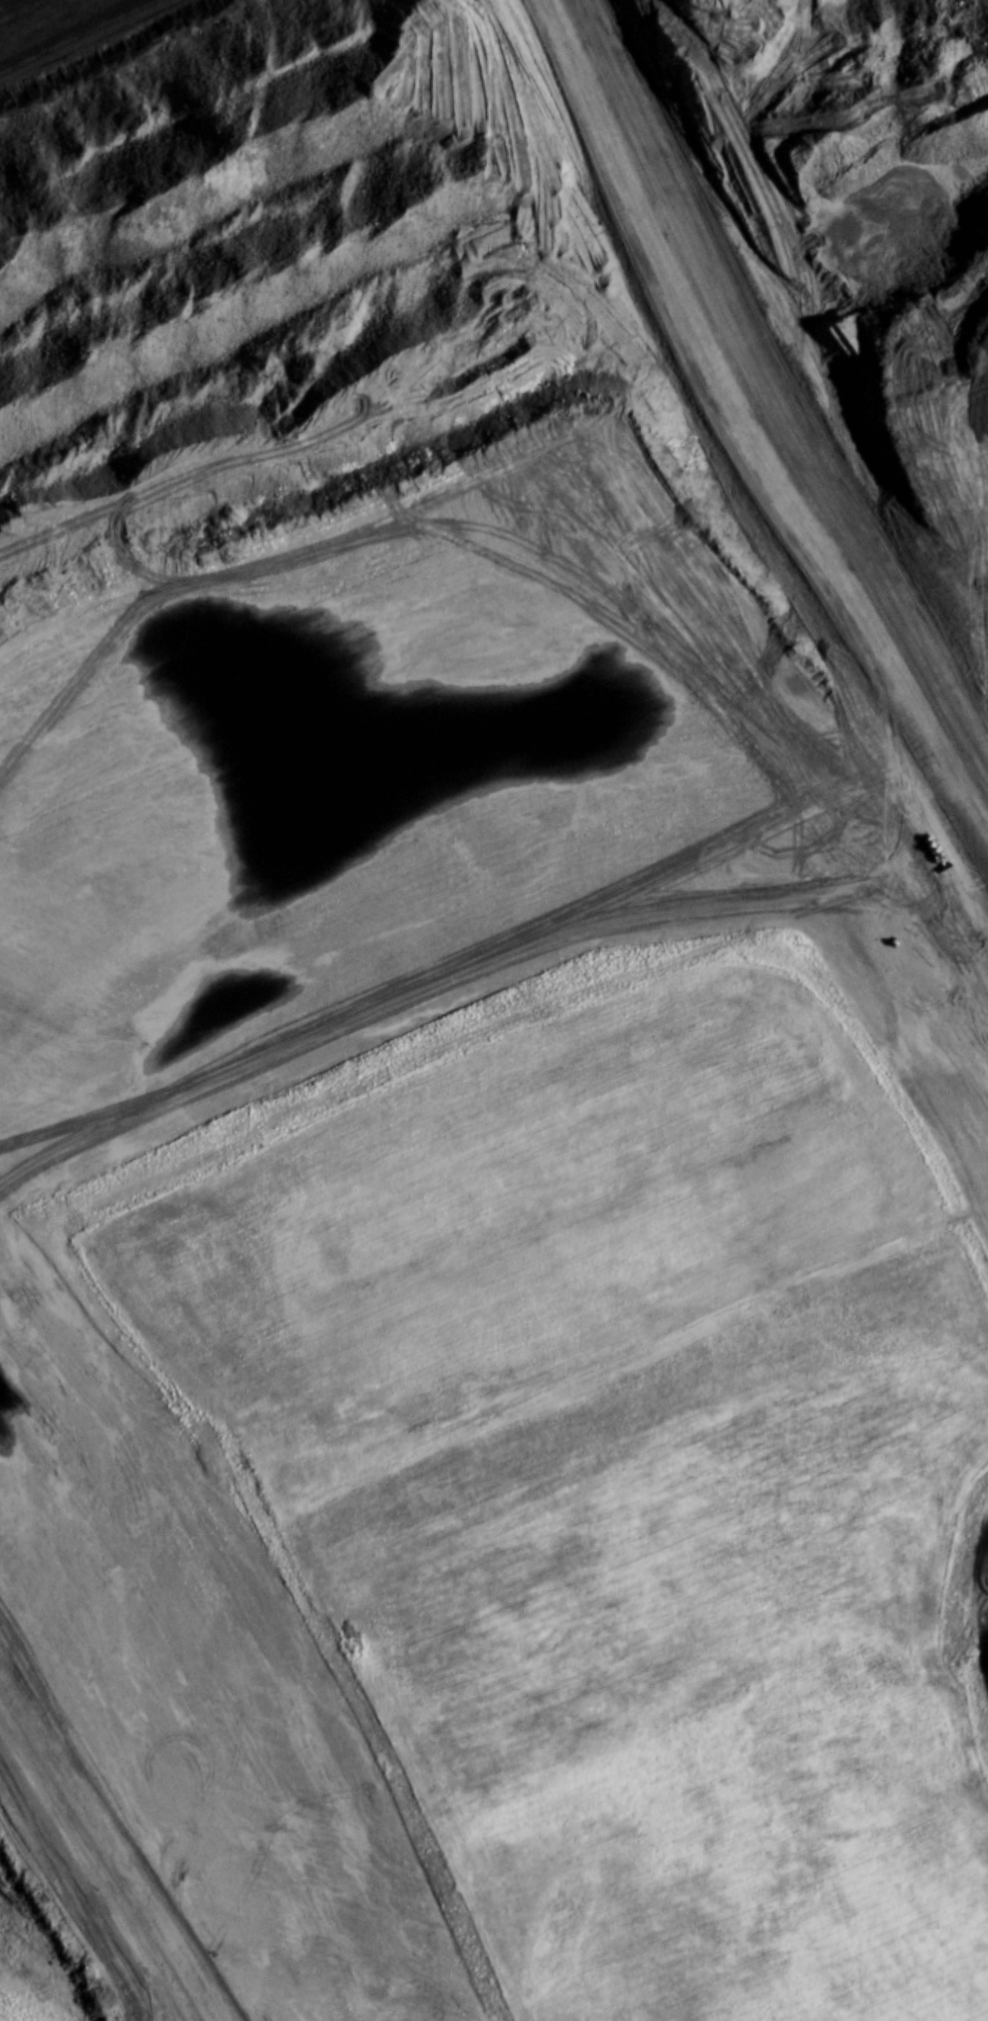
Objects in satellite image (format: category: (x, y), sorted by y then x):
road: (494, 12)

